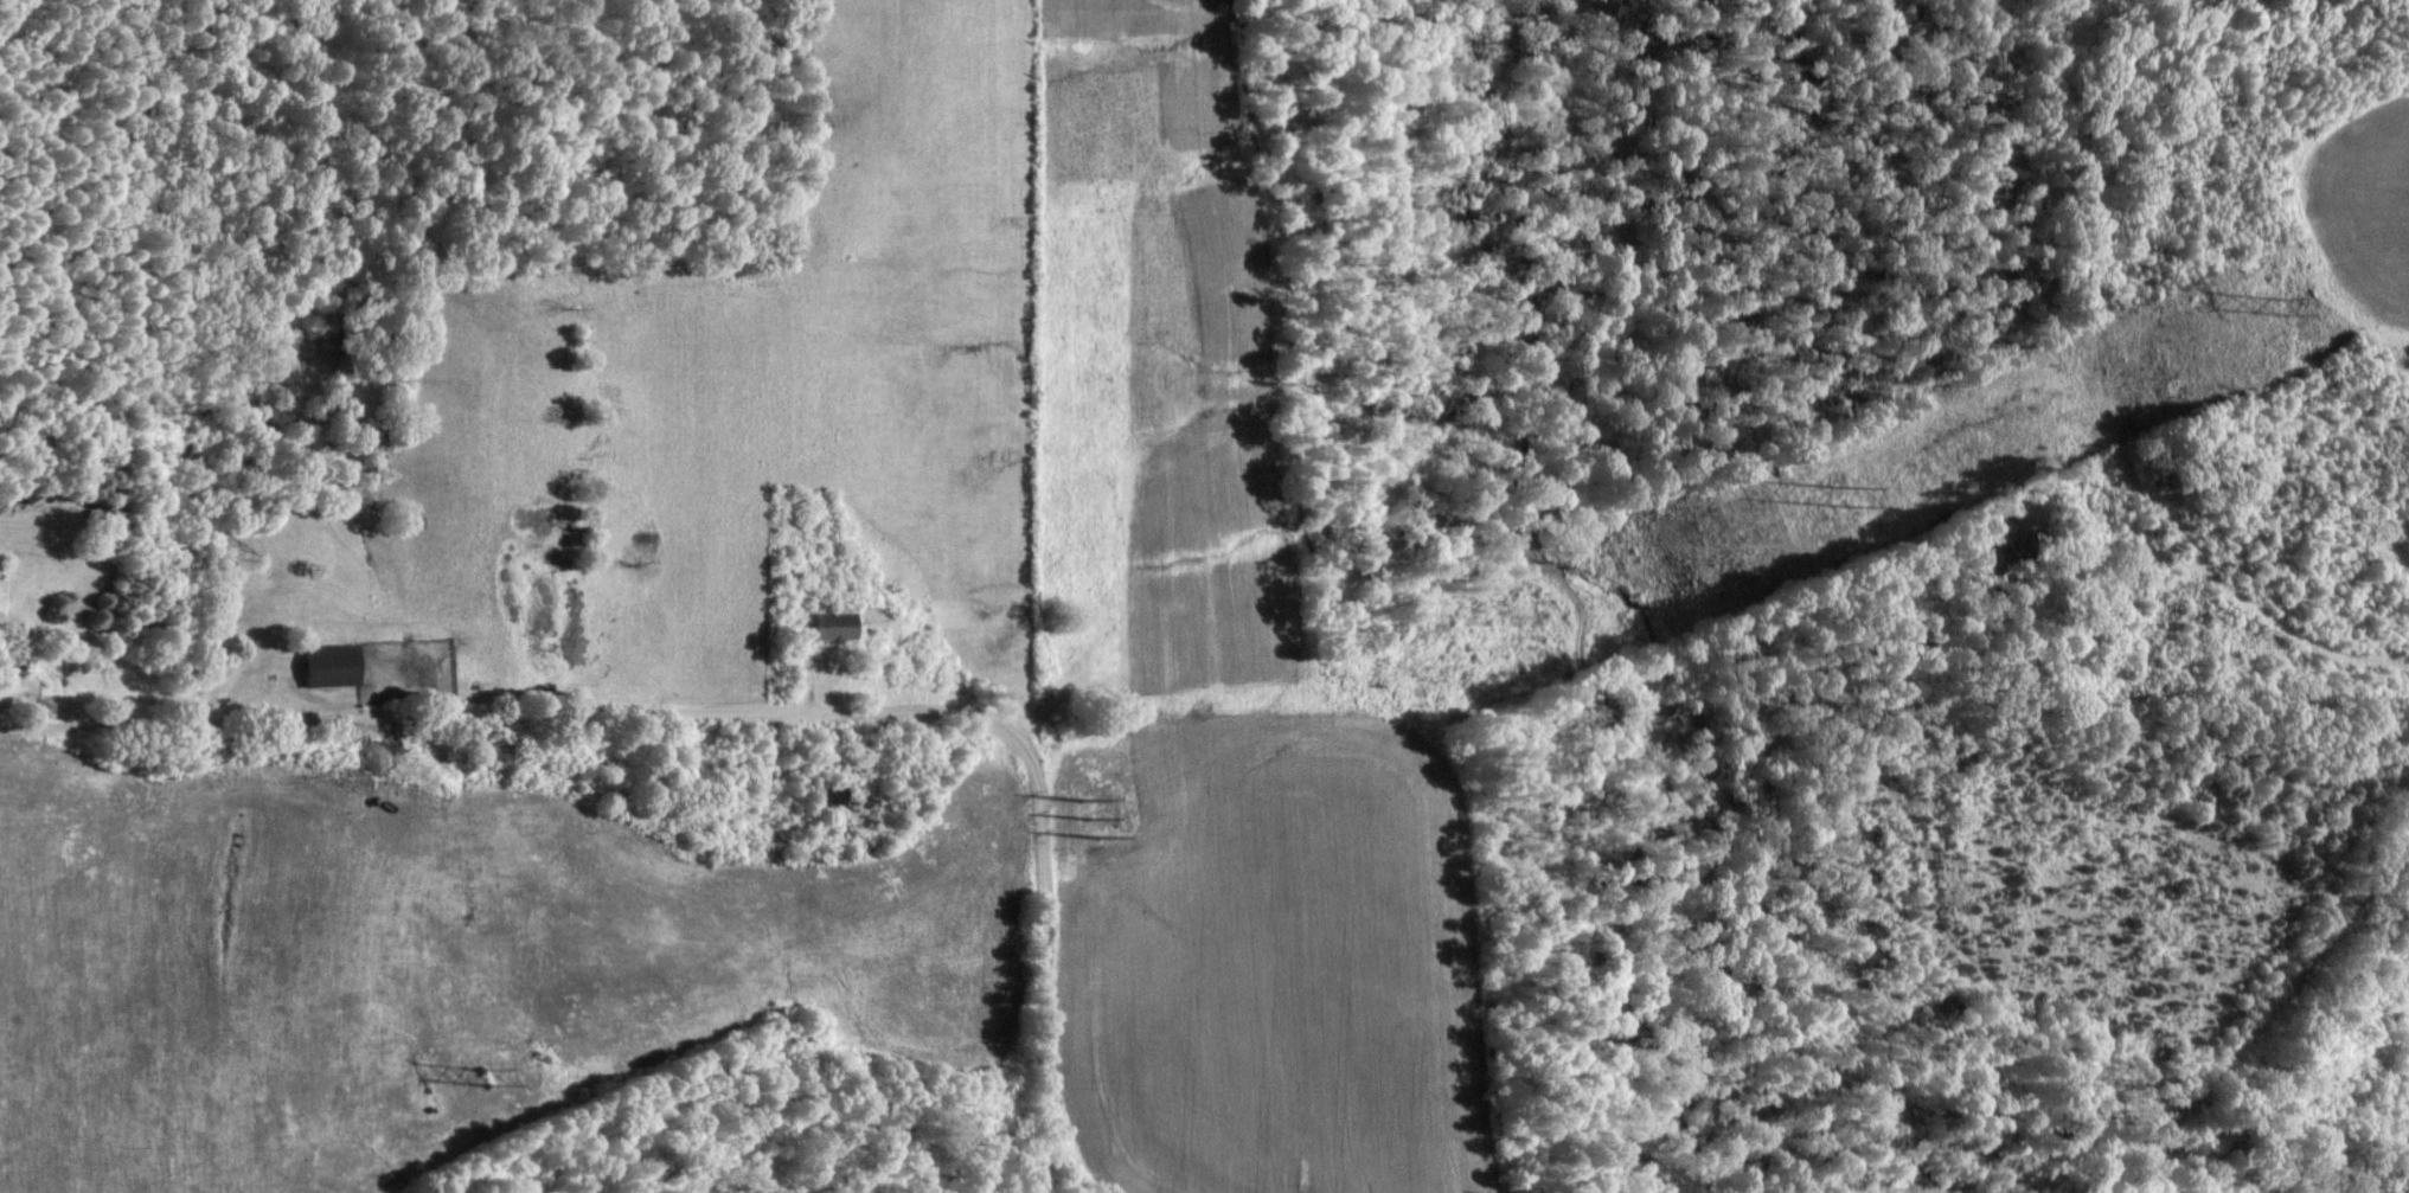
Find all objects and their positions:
power tower: (2280, 306)
power tower: (1828, 501)
building: (832, 626)
building: (328, 665)
road: (736, 714)
building: (826, 794)
power tower: (1122, 802)
road: (2301, 1050)
power tower: (485, 1075)

